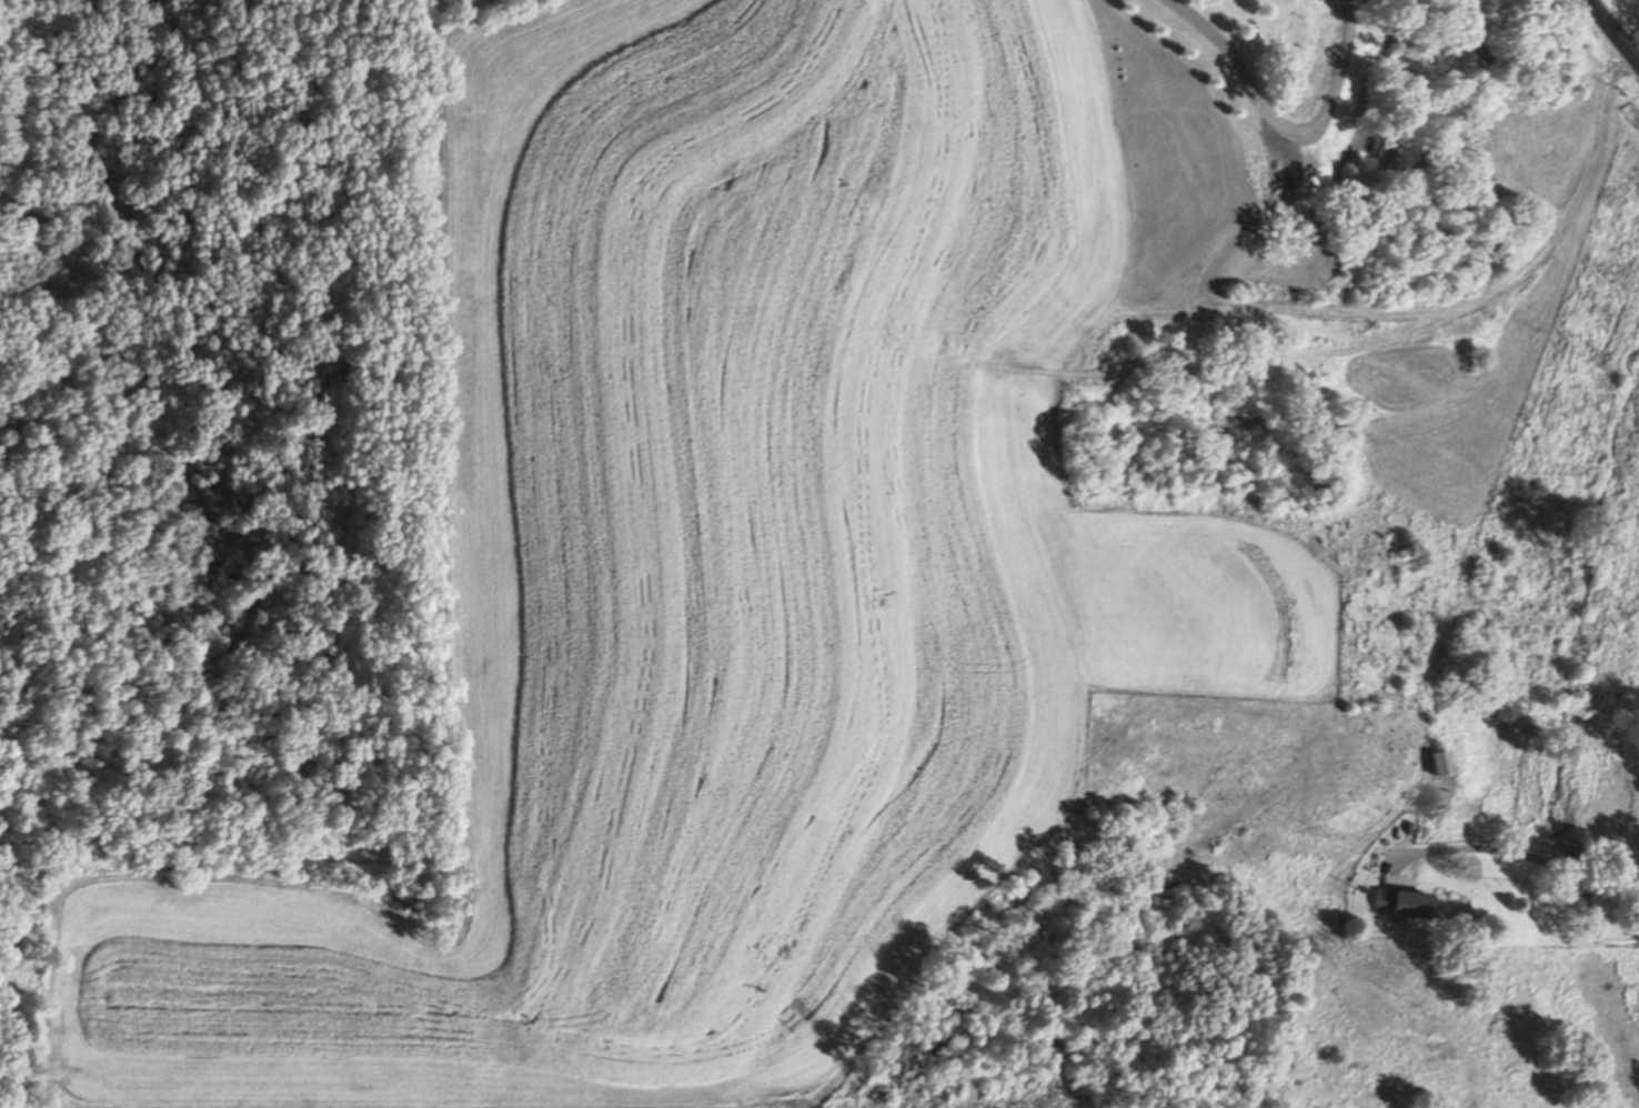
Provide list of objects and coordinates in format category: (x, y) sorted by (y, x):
road: (105, 0)
road: (1613, 32)
road: (1267, 108)
road: (29, 109)
road: (410, 643)
building: (1430, 762)
road: (1521, 853)
building: (1401, 904)

